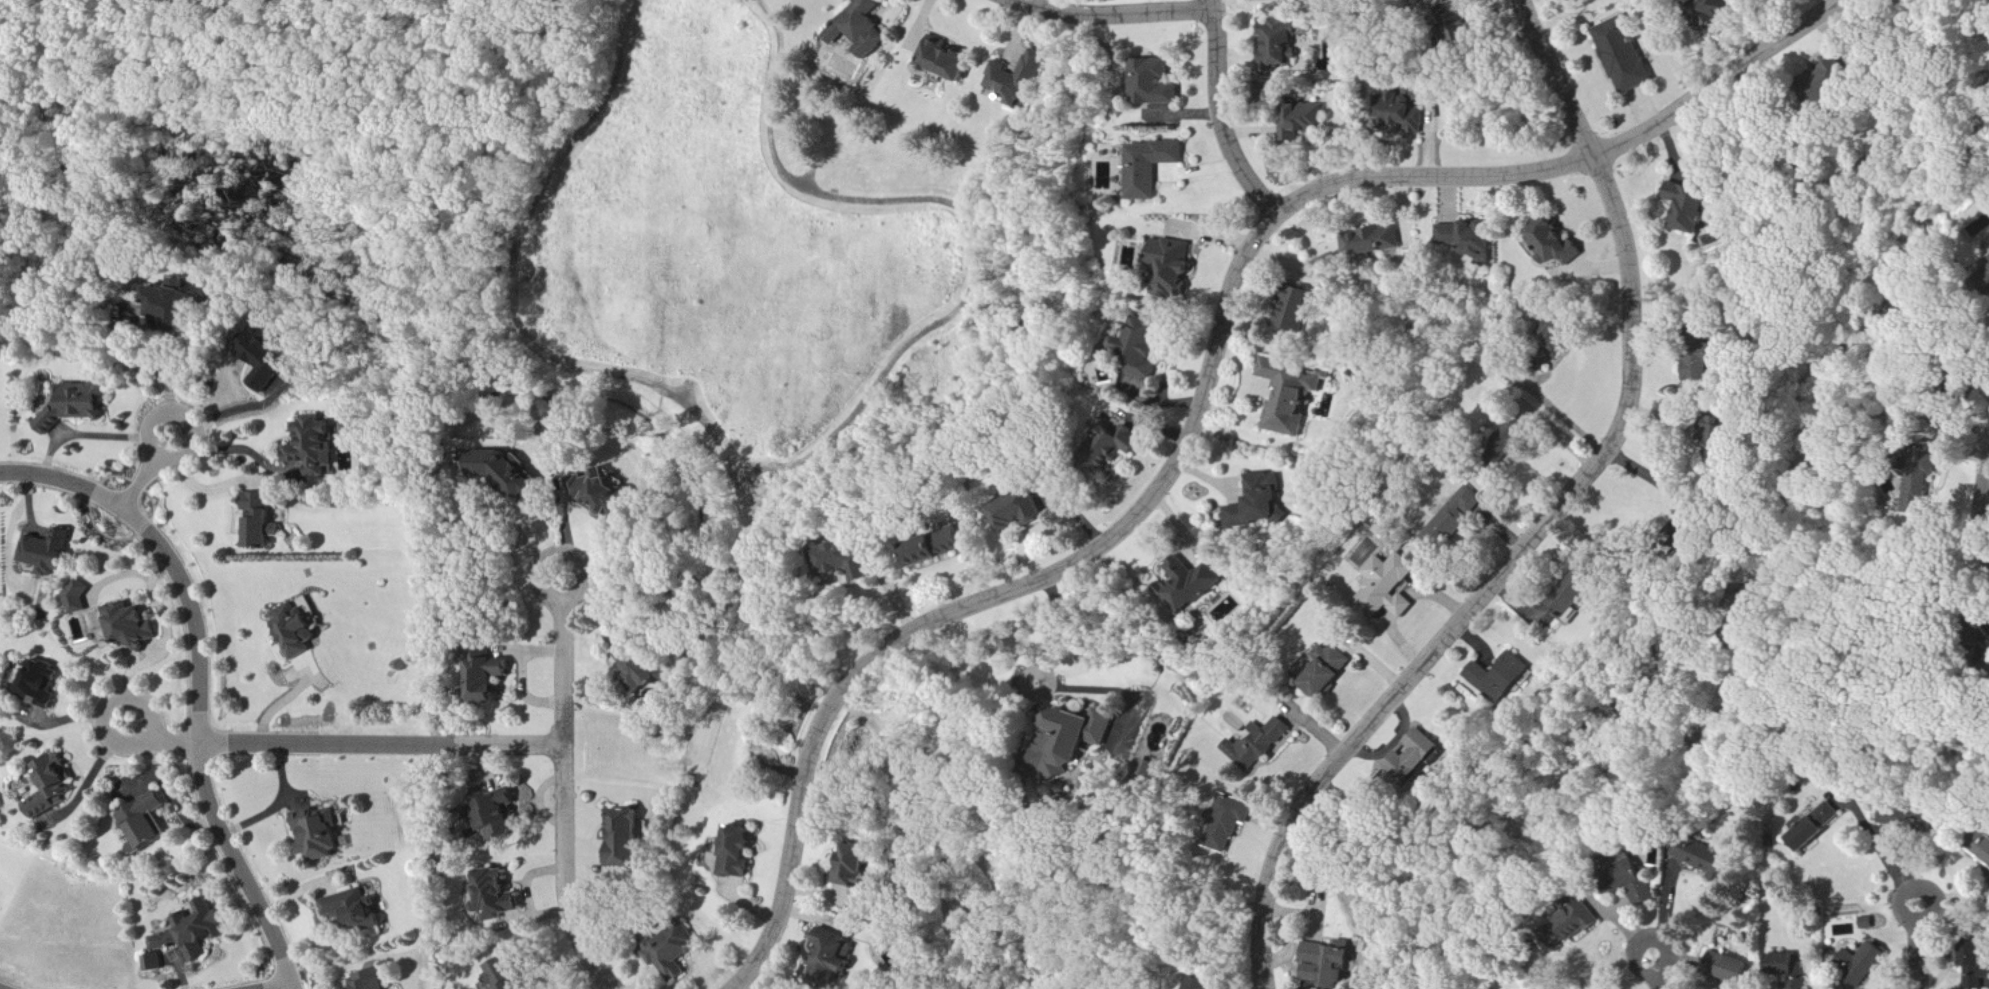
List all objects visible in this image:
road: (1116, 13)
building: (863, 28)
building: (1279, 43)
building: (1623, 56)
building: (946, 61)
building: (1018, 78)
building: (1834, 81)
building: (1156, 84)
road: (1221, 115)
building: (1401, 118)
building: (1305, 122)
building: (1153, 168)
building: (1692, 208)
building: (1469, 239)
building: (1371, 243)
building: (1555, 244)
building: (174, 306)
building: (1297, 312)
building: (1145, 348)
building: (265, 355)
building: (1698, 363)
road: (160, 371)
road: (1207, 391)
building: (1288, 395)
building: (76, 406)
building: (353, 429)
road: (99, 434)
building: (1717, 442)
building: (316, 448)
road: (243, 449)
building: (1120, 450)
road: (151, 473)
building: (509, 476)
road: (201, 488)
building: (1916, 495)
building: (609, 497)
building: (1260, 503)
building: (1022, 514)
road: (1548, 517)
building: (1453, 519)
building: (262, 523)
building: (935, 550)
building: (49, 553)
building: (845, 561)
building: (1189, 585)
building: (1387, 588)
building: (78, 598)
building: (1573, 600)
building: (131, 628)
building: (297, 631)
building: (642, 670)
building: (1328, 673)
building: (1501, 678)
building: (490, 679)
road: (200, 680)
building: (42, 685)
road: (1060, 687)
road: (164, 738)
road: (384, 743)
building: (1263, 745)
building: (1416, 758)
building: (52, 784)
road: (565, 788)
building: (500, 815)
building: (1910, 818)
building: (1234, 821)
building: (147, 822)
building: (1816, 827)
building: (322, 834)
building: (627, 839)
building: (739, 851)
road: (1880, 853)
building: (1982, 854)
building: (1706, 859)
building: (857, 866)
building: (1640, 888)
building: (358, 908)
building: (1577, 922)
building: (1868, 922)
building: (189, 935)
road: (1922, 947)
building: (673, 952)
building: (832, 957)
building: (1333, 963)
building: (1862, 964)
building: (1975, 964)
building: (1728, 967)
building: (1787, 968)
road: (1659, 971)
building: (508, 974)
building: (369, 980)
building: (1195, 983)
road: (282, 987)

